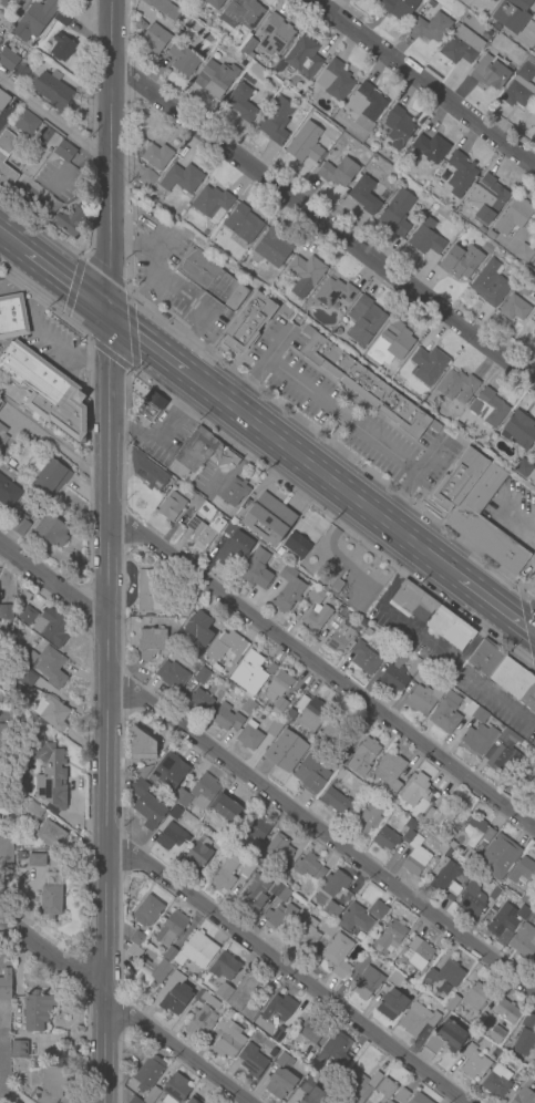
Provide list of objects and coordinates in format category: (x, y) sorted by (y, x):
building: (17, 0)
building: (371, 0)
building: (374, 0)
building: (493, 1)
building: (2, 2)
building: (215, 3)
building: (162, 8)
building: (398, 8)
building: (243, 13)
building: (512, 14)
building: (34, 19)
building: (63, 19)
building: (431, 28)
building: (275, 35)
building: (154, 39)
building: (209, 39)
building: (461, 45)
building: (61, 47)
building: (249, 47)
building: (183, 59)
building: (303, 59)
building: (8, 60)
building: (279, 68)
building: (20, 72)
building: (491, 72)
building: (215, 79)
building: (335, 80)
road: (421, 83)
building: (521, 85)
building: (53, 90)
building: (3, 100)
building: (241, 103)
building: (366, 103)
building: (275, 120)
road: (54, 121)
building: (24, 123)
building: (398, 126)
building: (306, 144)
building: (430, 148)
building: (64, 152)
building: (6, 153)
road: (109, 156)
building: (156, 156)
building: (340, 172)
building: (422, 174)
building: (460, 174)
building: (148, 178)
building: (181, 178)
building: (404, 184)
building: (363, 195)
building: (486, 199)
building: (210, 200)
building: (49, 209)
building: (397, 213)
building: (513, 217)
building: (70, 223)
building: (243, 224)
road: (322, 225)
building: (425, 238)
road: (11, 241)
building: (187, 244)
building: (274, 248)
building: (487, 248)
building: (524, 254)
building: (461, 261)
road: (158, 272)
road: (107, 274)
building: (305, 274)
parking lot: (171, 279)
road: (64, 281)
building: (210, 282)
building: (490, 282)
building: (525, 284)
road: (71, 287)
road: (44, 292)
building: (333, 292)
building: (514, 309)
traffic signals: (106, 313)
building: (12, 317)
road: (205, 318)
building: (363, 320)
building: (247, 326)
road: (131, 333)
road: (50, 338)
parking lot: (52, 342)
road: (146, 342)
building: (391, 343)
road: (272, 350)
road: (109, 357)
road: (92, 365)
building: (428, 365)
building: (398, 381)
road: (246, 386)
building: (456, 386)
building: (367, 388)
building: (45, 390)
road: (187, 400)
building: (0, 403)
building: (148, 408)
building: (488, 408)
parking lot: (346, 413)
road: (342, 415)
road: (123, 423)
building: (519, 430)
building: (2, 435)
parking lot: (161, 435)
road: (162, 440)
road: (56, 445)
building: (213, 450)
road: (425, 460)
building: (11, 464)
building: (522, 468)
building: (146, 471)
road: (321, 474)
building: (51, 477)
parking lot: (207, 482)
building: (8, 492)
building: (234, 492)
road: (397, 499)
building: (172, 506)
building: (200, 507)
building: (476, 511)
building: (268, 519)
building: (18, 523)
building: (51, 529)
building: (205, 532)
building: (297, 545)
building: (234, 546)
building: (279, 553)
building: (257, 569)
road: (397, 578)
road: (53, 580)
building: (337, 586)
building: (288, 589)
road: (529, 590)
building: (152, 591)
building: (316, 596)
building: (411, 600)
road: (496, 606)
building: (181, 608)
building: (7, 611)
building: (28, 615)
building: (315, 619)
road: (527, 621)
building: (52, 627)
building: (199, 627)
building: (449, 627)
building: (8, 630)
building: (368, 632)
building: (339, 636)
road: (413, 636)
parking lot: (415, 639)
road: (476, 639)
building: (151, 642)
building: (228, 646)
building: (31, 657)
building: (364, 659)
building: (51, 667)
building: (215, 667)
building: (271, 669)
building: (248, 673)
road: (323, 673)
building: (394, 673)
building: (505, 673)
building: (172, 676)
building: (202, 676)
building: (422, 676)
building: (27, 678)
building: (278, 685)
building: (423, 699)
building: (199, 701)
building: (299, 704)
parking lot: (496, 704)
road: (500, 705)
building: (247, 707)
road: (106, 708)
building: (279, 708)
building: (474, 711)
building: (51, 712)
building: (290, 713)
building: (445, 713)
building: (312, 714)
building: (226, 719)
building: (275, 728)
building: (333, 729)
building: (4, 735)
building: (249, 735)
building: (477, 738)
building: (141, 745)
building: (286, 751)
building: (503, 753)
building: (362, 756)
building: (342, 759)
building: (171, 770)
building: (142, 772)
building: (388, 773)
building: (49, 774)
building: (311, 774)
building: (524, 777)
building: (415, 791)
building: (203, 792)
building: (181, 798)
building: (335, 803)
building: (146, 805)
building: (34, 810)
building: (226, 810)
building: (175, 813)
building: (439, 815)
building: (366, 819)
building: (259, 827)
building: (474, 833)
building: (50, 835)
building: (171, 836)
road: (323, 836)
building: (408, 836)
building: (384, 838)
building: (7, 848)
building: (279, 848)
building: (442, 849)
building: (449, 853)
building: (498, 854)
building: (196, 855)
building: (472, 855)
building: (415, 858)
building: (35, 860)
building: (309, 867)
building: (247, 870)
building: (523, 872)
building: (278, 873)
building: (225, 875)
building: (446, 879)
building: (335, 883)
building: (279, 893)
building: (494, 894)
building: (254, 895)
building: (471, 898)
building: (527, 899)
building: (52, 901)
building: (332, 910)
building: (377, 910)
building: (147, 911)
building: (279, 916)
building: (353, 918)
building: (505, 921)
building: (169, 928)
building: (328, 929)
building: (145, 932)
building: (305, 936)
building: (359, 936)
building: (389, 938)
building: (524, 940)
building: (196, 951)
building: (337, 953)
building: (419, 953)
building: (169, 955)
building: (146, 962)
building: (224, 967)
road: (290, 972)
building: (444, 973)
building: (368, 976)
building: (416, 979)
building: (395, 980)
building: (6, 985)
building: (224, 992)
building: (175, 994)
building: (246, 996)
building: (205, 999)
building: (475, 999)
building: (451, 1002)
building: (391, 1004)
building: (280, 1008)
building: (37, 1010)
road: (123, 1010)
building: (505, 1012)
building: (233, 1016)
building: (418, 1019)
building: (202, 1022)
building: (528, 1022)
building: (310, 1031)
building: (278, 1034)
building: (496, 1034)
building: (444, 1038)
building: (228, 1039)
building: (523, 1043)
building: (18, 1049)
building: (336, 1050)
building: (282, 1060)
building: (253, 1061)
building: (473, 1064)
building: (521, 1073)
building: (146, 1074)
building: (332, 1074)
building: (279, 1083)
building: (496, 1083)
building: (50, 1085)
building: (360, 1086)
building: (176, 1089)
building: (385, 1090)
building: (312, 1092)
building: (152, 1095)
building: (402, 1096)
building: (524, 1096)
building: (419, 1099)
building: (193, 1100)
building: (340, 1100)
building: (135, 1101)

